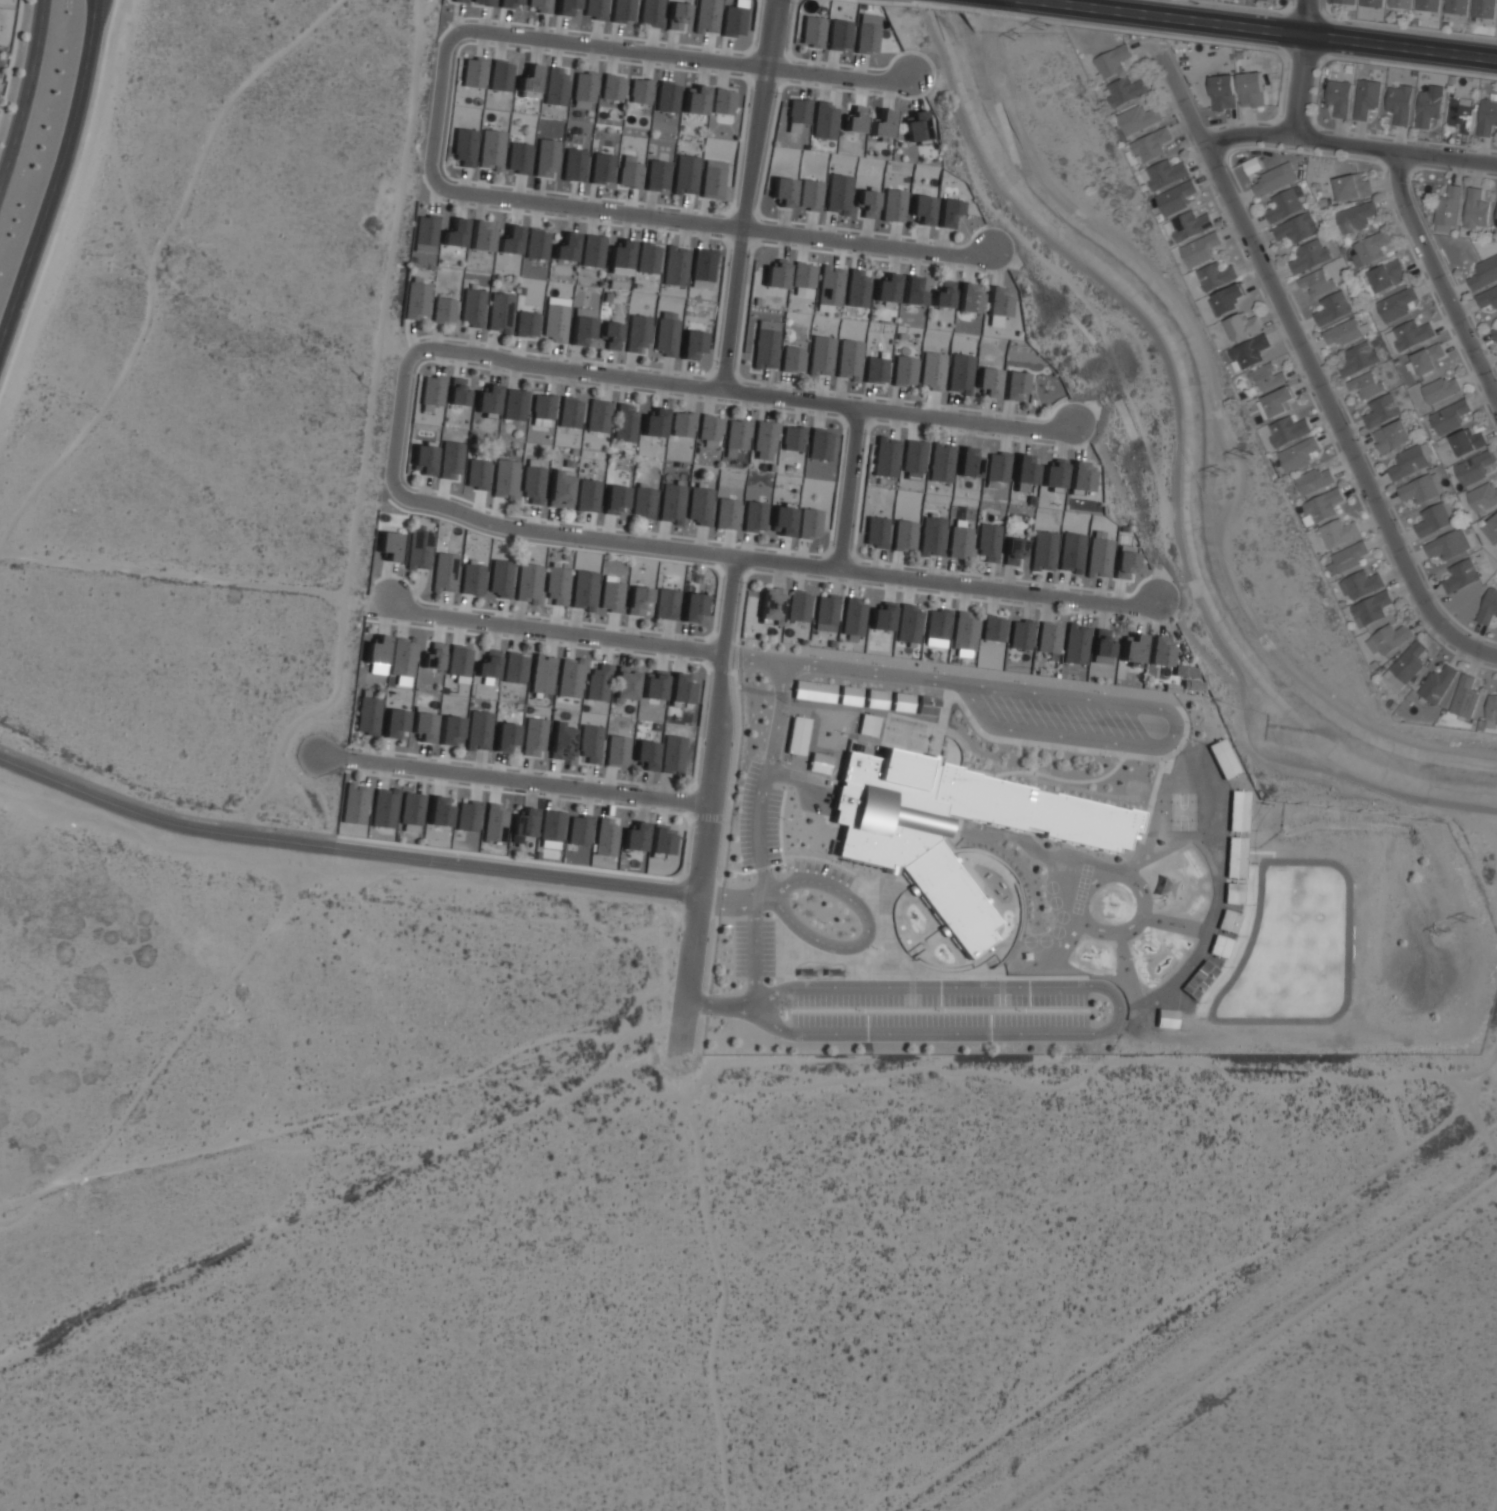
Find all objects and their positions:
building: (1269, 0)
building: (460, 1)
building: (1345, 1)
building: (483, 2)
building: (1371, 2)
building: (512, 3)
building: (1401, 4)
building: (541, 5)
building: (1427, 6)
building: (1456, 6)
building: (567, 7)
building: (1483, 8)
building: (594, 9)
building: (623, 10)
building: (651, 12)
building: (676, 16)
building: (706, 16)
building: (733, 20)
power tower: (1045, 23)
road: (1270, 29)
building: (812, 31)
building: (839, 34)
building: (867, 38)
power tower: (1017, 38)
road: (34, 44)
road: (690, 59)
building: (1113, 61)
road: (1303, 69)
building: (471, 74)
building: (529, 79)
building: (498, 80)
building: (555, 86)
building: (612, 87)
building: (1251, 89)
building: (583, 90)
building: (639, 91)
building: (1125, 91)
building: (1223, 92)
building: (667, 97)
building: (1339, 97)
building: (1367, 97)
building: (722, 101)
building: (693, 103)
building: (1400, 103)
building: (1428, 108)
road: (440, 109)
building: (797, 114)
building: (1460, 114)
building: (1487, 116)
building: (1139, 118)
building: (855, 119)
building: (824, 120)
building: (916, 127)
road: (15, 136)
building: (1150, 145)
road: (1349, 145)
building: (463, 146)
building: (491, 150)
building: (517, 158)
building: (546, 158)
building: (573, 165)
building: (1252, 165)
building: (602, 168)
building: (629, 174)
building: (685, 174)
building: (1164, 174)
building: (656, 175)
building: (713, 178)
road: (60, 180)
building: (1269, 181)
building: (1352, 186)
building: (783, 191)
road: (749, 193)
building: (810, 194)
building: (838, 194)
building: (1175, 197)
building: (867, 203)
building: (893, 205)
building: (1283, 206)
building: (922, 209)
building: (1448, 210)
building: (1476, 210)
building: (947, 212)
building: (1496, 213)
building: (1355, 217)
building: (1496, 220)
building: (1187, 225)
road: (720, 227)
building: (1295, 228)
building: (425, 231)
building: (453, 233)
building: (480, 235)
building: (509, 238)
building: (536, 243)
building: (565, 247)
building: (1200, 249)
building: (1369, 249)
building: (591, 250)
building: (1309, 256)
building: (619, 258)
building: (647, 258)
building: (702, 265)
building: (674, 266)
road: (1440, 273)
building: (1484, 273)
building: (776, 274)
building: (803, 275)
building: (1216, 275)
building: (1386, 276)
building: (1318, 281)
building: (829, 288)
building: (857, 288)
building: (887, 288)
building: (912, 291)
building: (943, 294)
building: (416, 298)
building: (969, 298)
building: (1229, 298)
building: (1488, 298)
building: (996, 302)
building: (1396, 304)
building: (1332, 307)
building: (471, 309)
building: (443, 310)
building: (500, 313)
road: (1139, 316)
building: (555, 324)
building: (526, 325)
building: (1242, 325)
building: (580, 331)
building: (1345, 332)
building: (666, 333)
building: (1410, 333)
building: (1495, 333)
building: (637, 334)
building: (610, 337)
building: (692, 344)
building: (766, 344)
building: (1248, 352)
building: (821, 355)
building: (1359, 358)
building: (1427, 358)
building: (792, 359)
building: (849, 359)
building: (875, 370)
building: (904, 370)
building: (933, 370)
building: (960, 373)
building: (1267, 376)
building: (988, 381)
building: (1014, 381)
road: (1317, 381)
building: (1367, 383)
building: (1441, 389)
road: (752, 391)
building: (431, 392)
building: (458, 392)
building: (488, 399)
building: (1278, 401)
building: (514, 404)
building: (542, 409)
building: (1381, 411)
building: (570, 412)
road: (400, 415)
building: (598, 416)
building: (1449, 416)
building: (625, 422)
building: (654, 423)
building: (681, 424)
building: (709, 430)
building: (1287, 430)
building: (1391, 436)
building: (764, 437)
building: (732, 438)
building: (792, 439)
building: (1467, 442)
building: (819, 445)
power tower: (1247, 451)
building: (1298, 454)
building: (885, 457)
building: (913, 459)
building: (422, 460)
building: (450, 460)
building: (941, 462)
building: (968, 463)
building: (1408, 463)
building: (997, 467)
building: (1475, 467)
power tower: (1223, 470)
building: (1023, 473)
building: (477, 474)
building: (1079, 477)
building: (505, 478)
building: (1315, 480)
building: (533, 484)
road: (852, 487)
building: (1421, 488)
building: (561, 490)
building: (587, 497)
building: (1483, 498)
building: (615, 501)
building: (642, 504)
building: (670, 504)
building: (1323, 505)
building: (699, 507)
building: (726, 513)
building: (753, 518)
building: (1435, 518)
building: (782, 519)
building: (808, 523)
building: (1493, 523)
building: (876, 531)
building: (1338, 532)
building: (904, 535)
building: (932, 536)
building: (959, 540)
building: (988, 541)
building: (1448, 544)
building: (389, 545)
building: (418, 550)
building: (1013, 550)
building: (1043, 550)
building: (1071, 552)
building: (1098, 555)
building: (1349, 556)
road: (777, 560)
building: (1124, 561)
building: (444, 573)
building: (1460, 576)
building: (471, 578)
building: (499, 578)
building: (528, 583)
building: (1362, 583)
building: (556, 585)
building: (583, 590)
building: (610, 593)
building: (637, 599)
building: (665, 604)
building: (771, 604)
building: (798, 606)
building: (692, 607)
building: (1488, 607)
building: (1371, 608)
building: (826, 609)
building: (882, 617)
building: (853, 618)
building: (908, 624)
building: (937, 627)
road: (557, 628)
building: (993, 628)
building: (964, 631)
building: (1020, 634)
building: (1389, 638)
building: (1076, 644)
building: (1102, 647)
building: (1132, 649)
building: (376, 651)
building: (1159, 651)
building: (433, 656)
building: (403, 658)
building: (458, 662)
building: (1407, 663)
building: (487, 664)
building: (514, 668)
building: (1184, 671)
building: (541, 675)
building: (570, 677)
building: (598, 683)
building: (625, 683)
building: (1439, 684)
building: (654, 685)
building: (680, 688)
road: (946, 688)
building: (813, 691)
building: (849, 696)
building: (1465, 696)
building: (875, 699)
building: (901, 702)
road: (1106, 703)
building: (927, 706)
building: (1491, 711)
building: (368, 716)
parking lot: (1068, 716)
building: (393, 722)
building: (423, 726)
building: (866, 726)
building: (448, 731)
building: (478, 731)
park: (904, 733)
building: (796, 736)
building: (534, 737)
building: (504, 738)
road: (992, 739)
building: (561, 741)
building: (590, 743)
building: (617, 750)
building: (645, 754)
building: (672, 754)
building: (1222, 758)
road: (1287, 760)
building: (818, 764)
road: (1098, 778)
road: (794, 779)
road: (515, 780)
road: (710, 791)
building: (355, 804)
building: (384, 807)
road: (1149, 808)
building: (411, 810)
park: (1182, 811)
building: (1238, 811)
building: (439, 812)
building: (467, 816)
parking lot: (757, 820)
building: (495, 823)
building: (524, 823)
building: (551, 825)
building: (579, 830)
building: (605, 836)
building: (634, 840)
road: (757, 841)
building: (660, 842)
road: (343, 849)
building: (889, 853)
building: (1235, 856)
road: (1004, 866)
parking lot: (821, 870)
building: (1163, 886)
building: (1233, 893)
road: (727, 895)
power tower: (1471, 920)
building: (1227, 922)
power tower: (1442, 931)
road: (866, 934)
road: (1016, 935)
road: (887, 937)
building: (1219, 946)
parking lot: (753, 948)
road: (853, 962)
road: (838, 976)
building: (1198, 980)
parking lot: (939, 1010)
road: (1117, 1014)
building: (1165, 1018)

